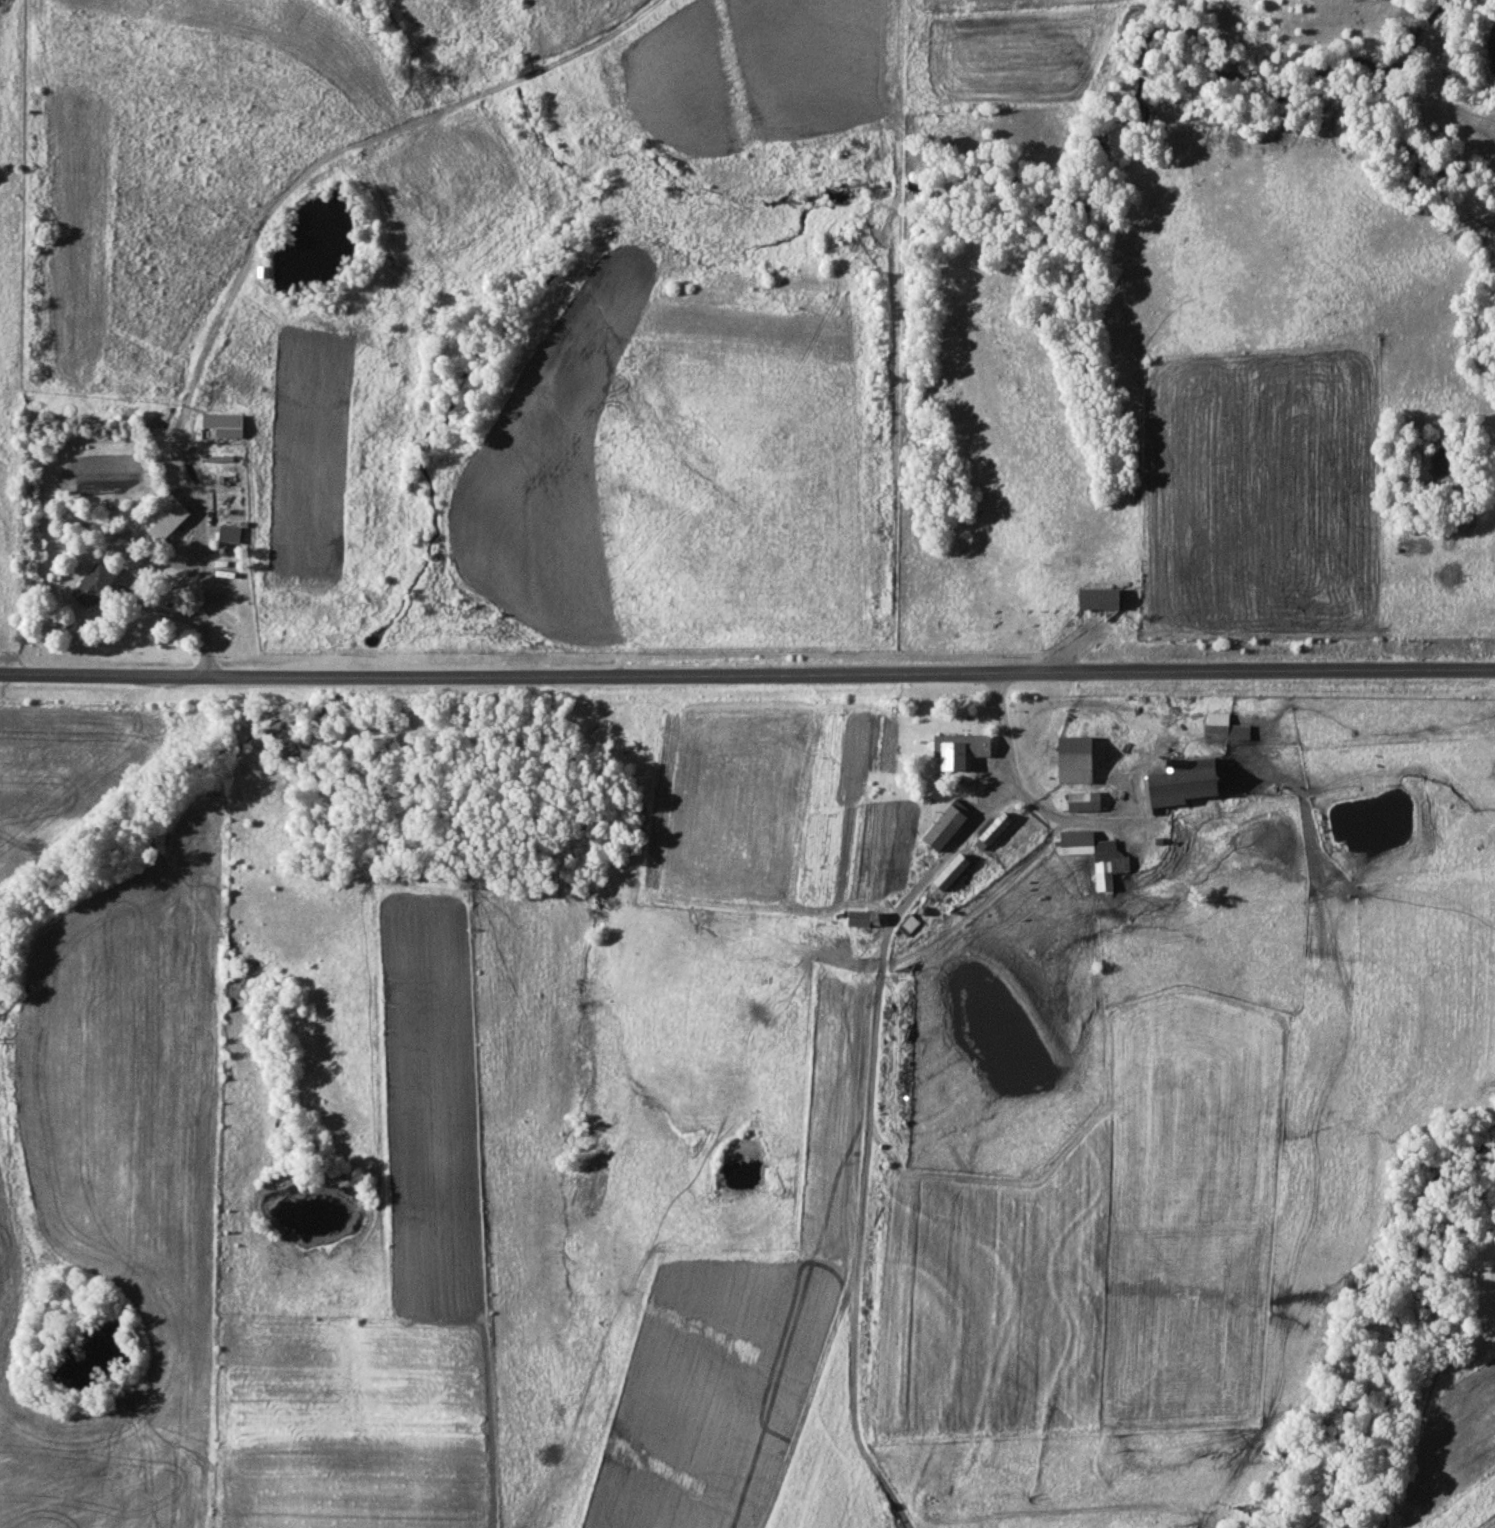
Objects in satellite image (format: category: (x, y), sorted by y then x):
building: (220, 422)
building: (162, 517)
building: (92, 586)
building: (1098, 600)
road: (747, 669)
building: (962, 746)
building: (1179, 786)
building: (1082, 801)
building: (1076, 838)
building: (861, 920)

